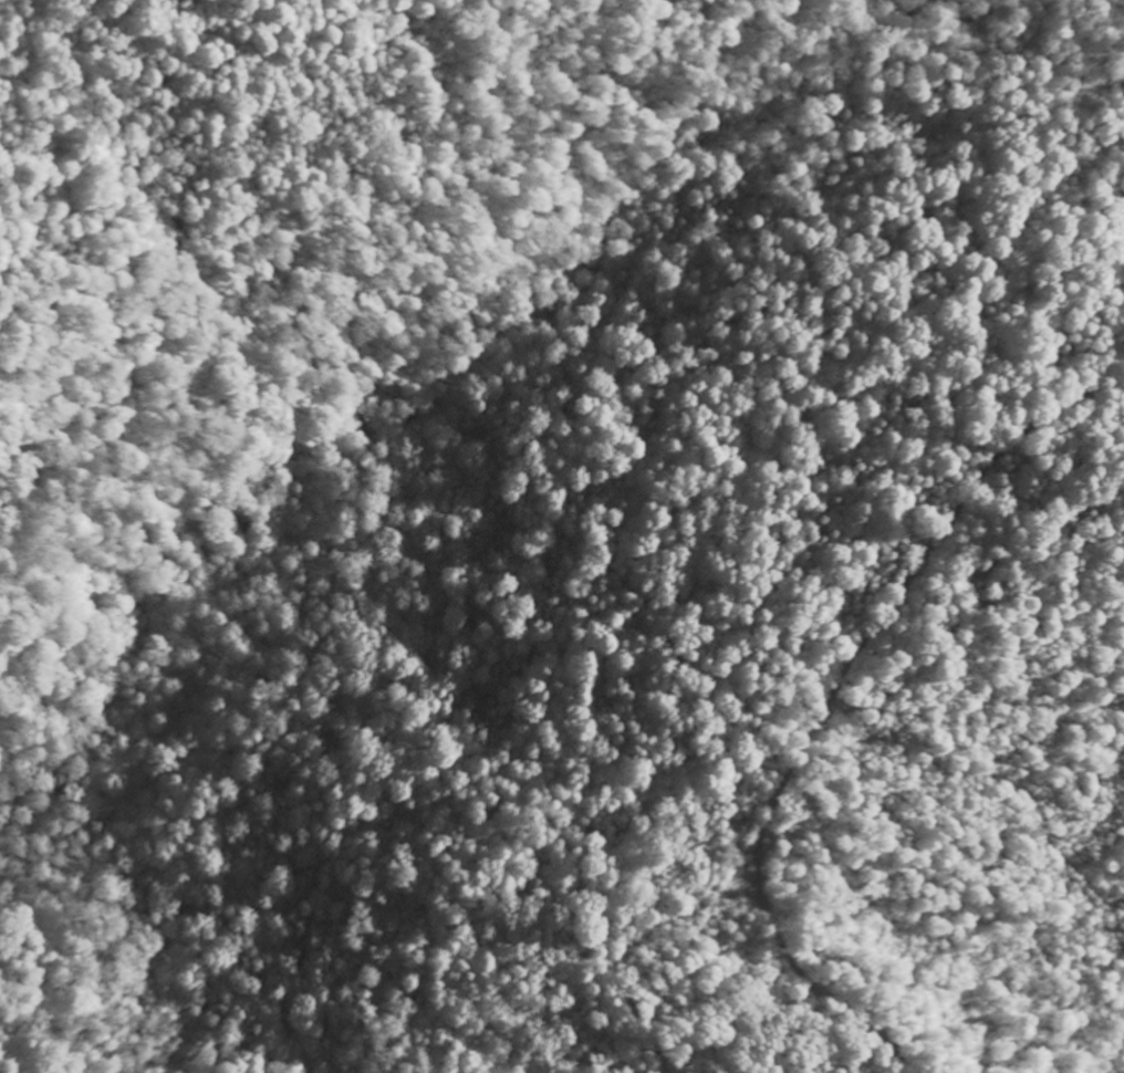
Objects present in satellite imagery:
road: (824, 701)

